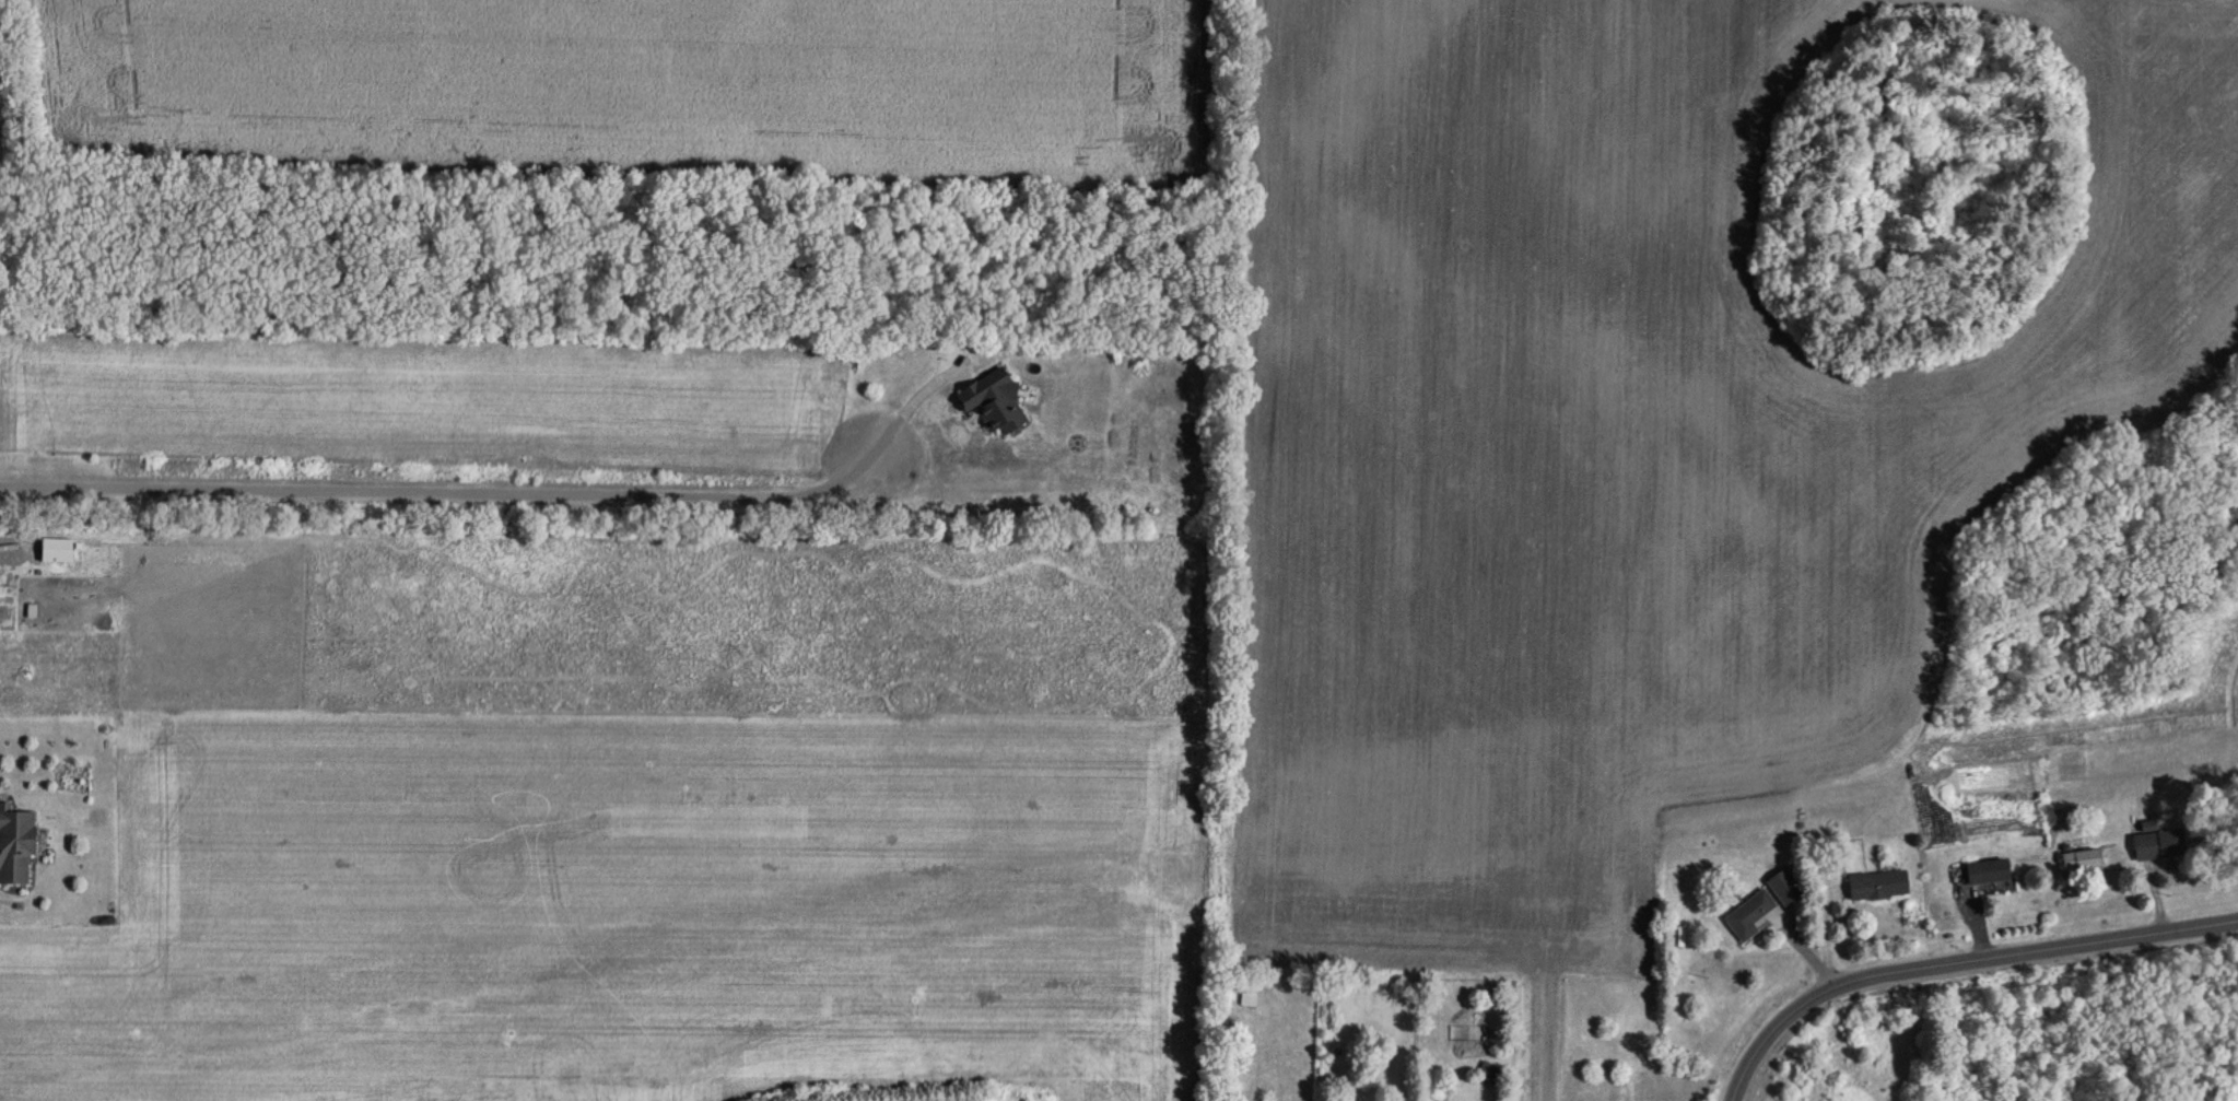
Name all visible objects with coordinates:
building: (996, 399)
road: (907, 409)
road: (443, 491)
building: (16, 842)
building: (2079, 855)
building: (1988, 870)
building: (1878, 883)
road: (1955, 960)
building: (1253, 998)

